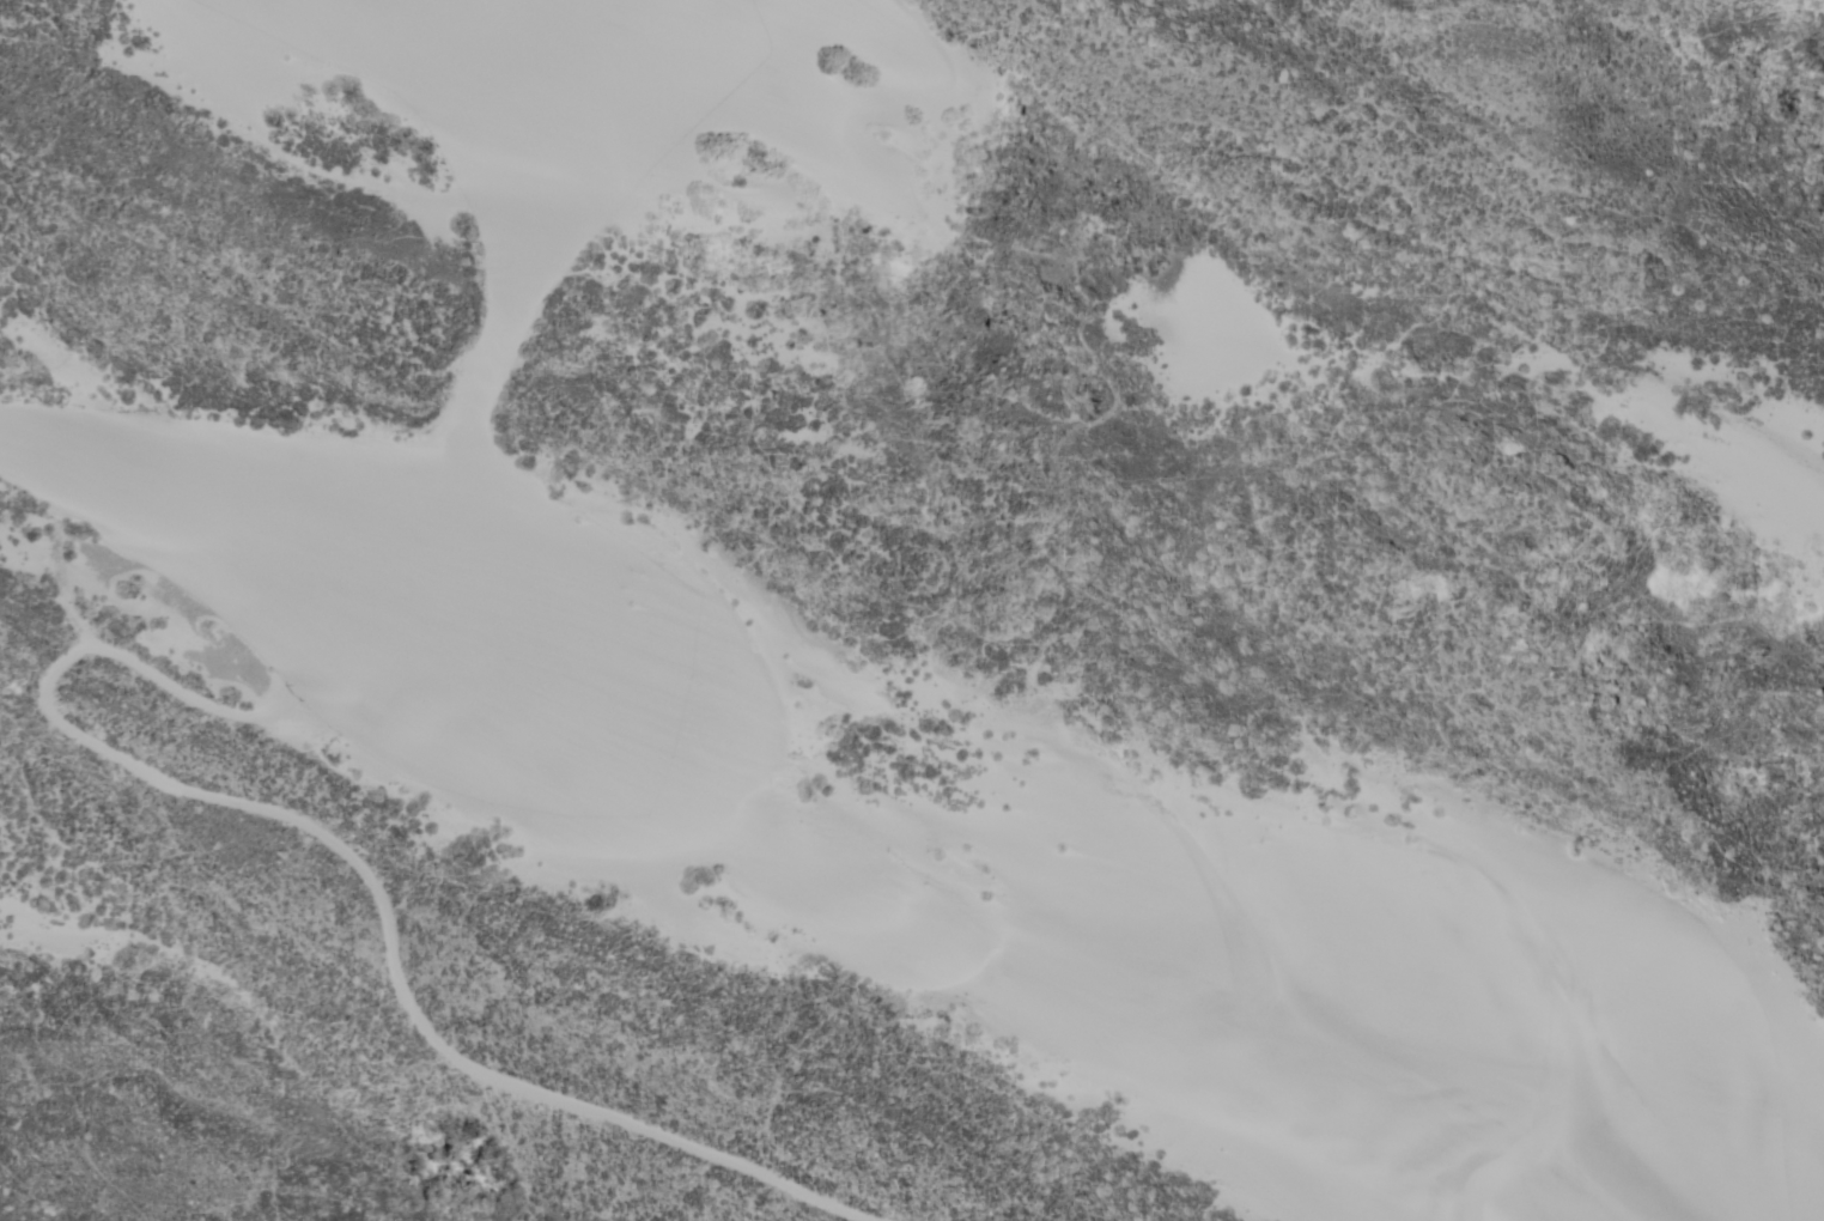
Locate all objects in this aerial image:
road: (41, 481)
park: (912, 610)
road: (359, 864)

